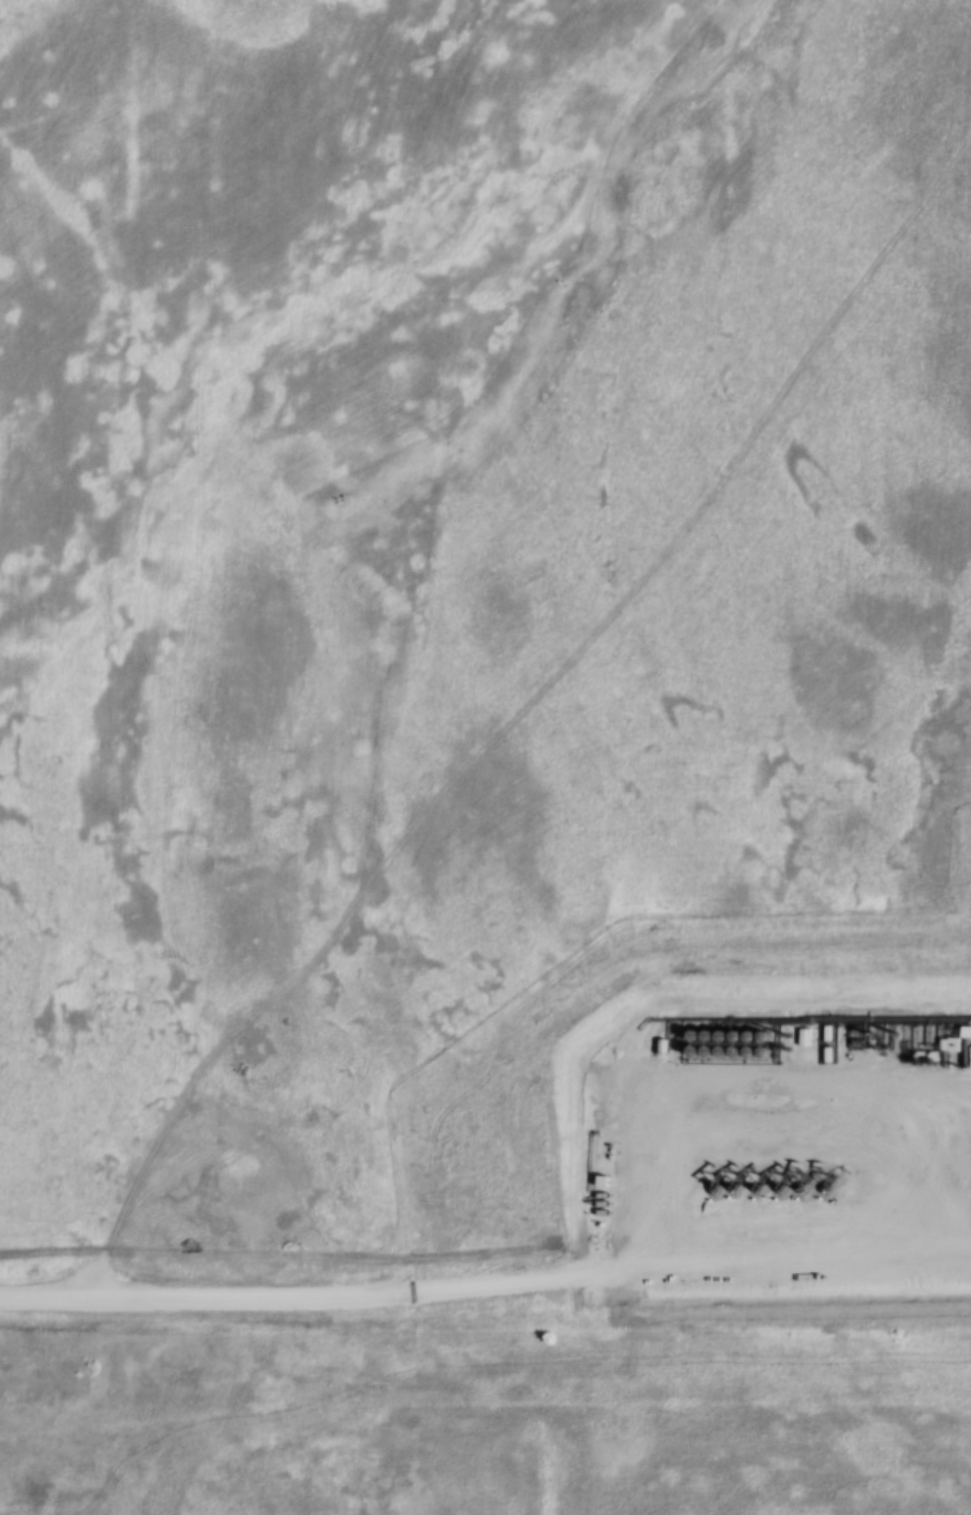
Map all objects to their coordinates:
road: (485, 1277)

